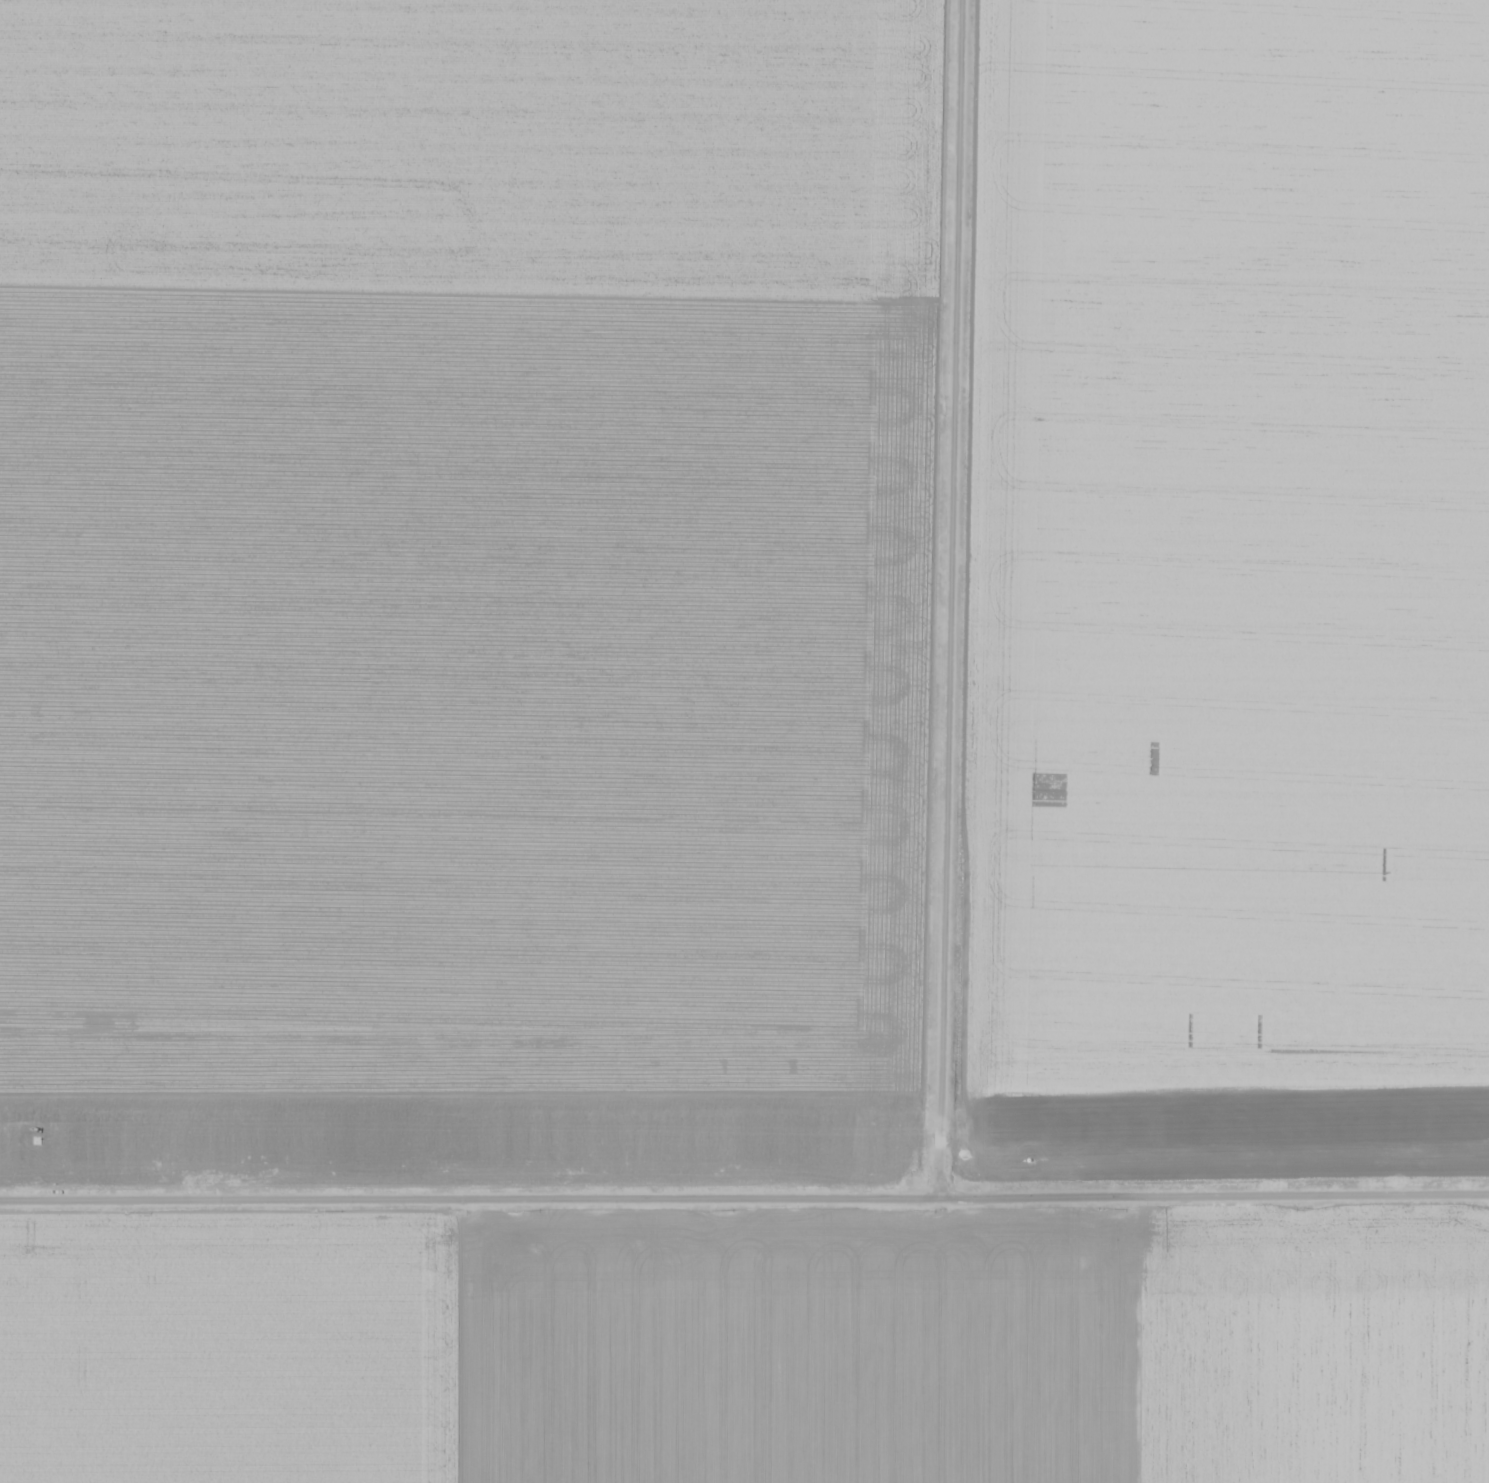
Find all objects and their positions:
road: (951, 598)
road: (1214, 1195)
road: (469, 1197)

